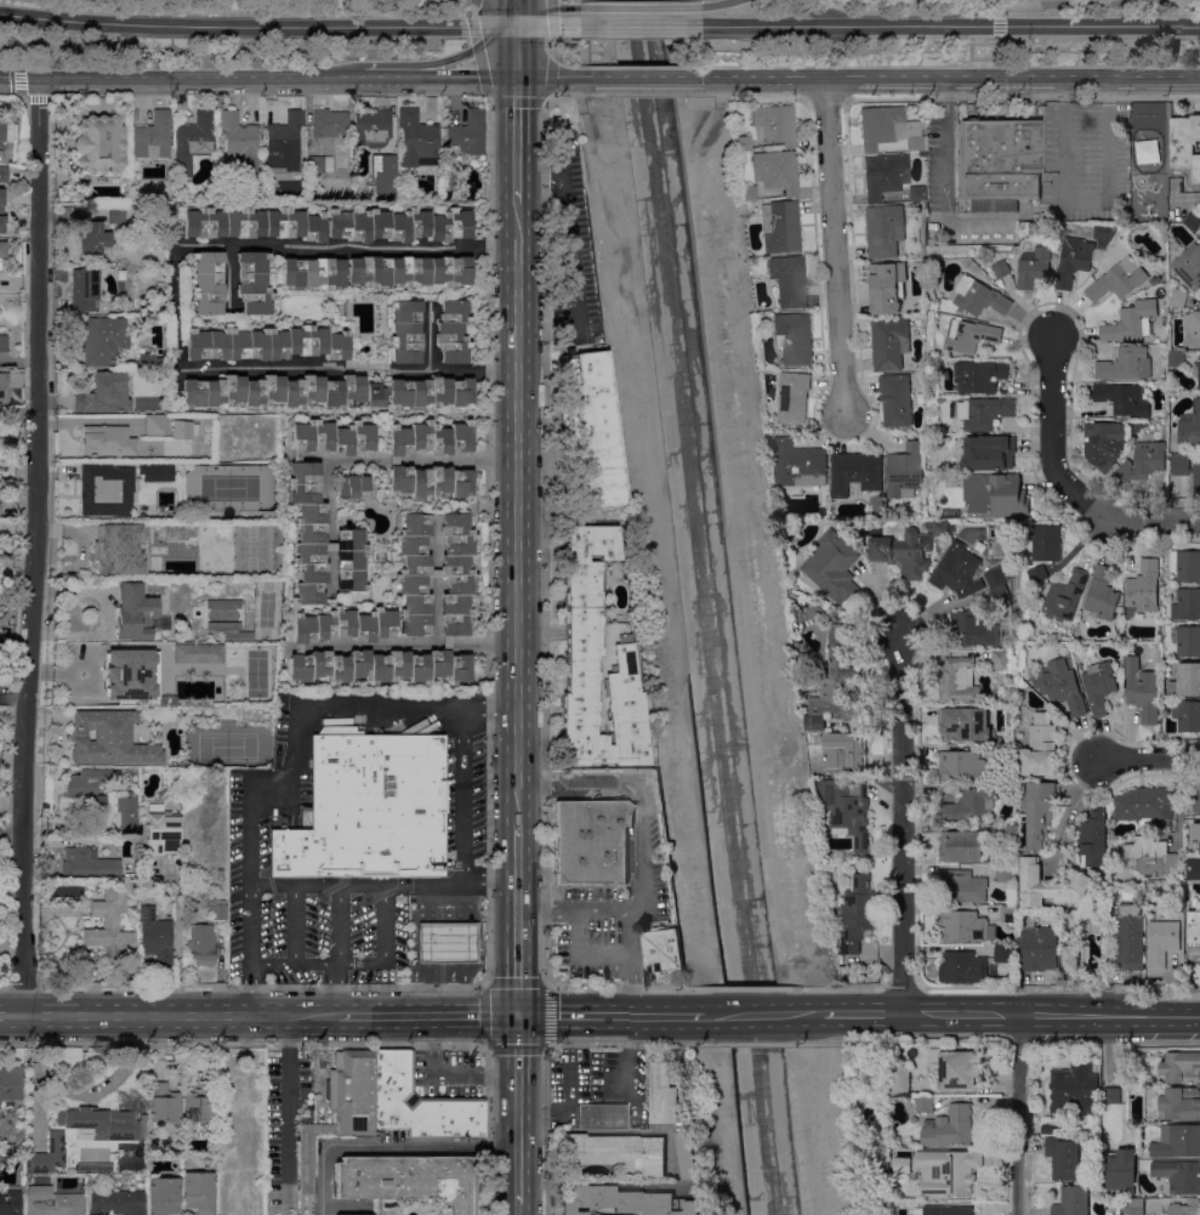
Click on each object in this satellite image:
road: (1117, 1)
road: (1012, 2)
road: (720, 4)
road: (516, 7)
road: (639, 7)
road: (545, 11)
road: (550, 17)
road: (514, 19)
traffic signals: (514, 24)
road: (999, 24)
road: (514, 30)
road: (16, 46)
road: (550, 47)
road: (971, 50)
road: (514, 56)
road: (416, 63)
traffic signals: (516, 75)
road: (950, 75)
road: (10, 76)
road: (550, 76)
road: (643, 76)
road: (267, 78)
traffic signals: (38, 79)
road: (1000, 79)
road: (21, 81)
road: (676, 93)
road: (488, 96)
road: (38, 97)
road: (1020, 97)
road: (824, 98)
building: (330, 124)
building: (774, 125)
building: (372, 129)
building: (888, 129)
building: (2, 132)
building: (468, 132)
building: (152, 137)
building: (416, 137)
road: (514, 137)
road: (1064, 137)
building: (194, 141)
building: (240, 142)
building: (284, 142)
building: (740, 143)
building: (1185, 143)
building: (99, 144)
building: (997, 165)
building: (319, 166)
building: (777, 171)
building: (383, 174)
building: (2, 175)
building: (885, 176)
building: (747, 193)
building: (917, 193)
road: (1193, 198)
building: (2, 209)
building: (116, 214)
road: (1014, 217)
building: (1193, 218)
building: (328, 225)
building: (780, 227)
building: (885, 229)
building: (1103, 233)
road: (568, 234)
building: (93, 240)
road: (834, 243)
road: (283, 245)
building: (2, 249)
building: (1074, 260)
building: (757, 262)
building: (1189, 265)
building: (1034, 267)
building: (1001, 268)
building: (376, 272)
building: (750, 274)
road: (229, 276)
building: (1117, 279)
building: (789, 280)
building: (207, 283)
building: (254, 283)
building: (887, 286)
building: (84, 290)
building: (974, 296)
building: (1178, 297)
building: (1131, 320)
building: (1192, 329)
building: (405, 331)
building: (453, 333)
building: (971, 335)
road: (428, 336)
building: (794, 337)
building: (103, 341)
building: (889, 342)
building: (4, 344)
building: (266, 344)
building: (1176, 358)
building: (148, 362)
building: (1126, 364)
road: (353, 369)
building: (1196, 370)
building: (982, 375)
building: (2, 388)
building: (273, 392)
building: (431, 393)
building: (104, 394)
building: (376, 394)
building: (794, 397)
building: (1122, 398)
building: (895, 399)
building: (940, 399)
building: (983, 411)
building: (153, 425)
building: (1190, 425)
road: (1052, 427)
building: (183, 430)
building: (590, 432)
building: (332, 437)
building: (428, 438)
building: (106, 442)
building: (1105, 442)
building: (989, 452)
building: (296, 456)
building: (392, 460)
road: (392, 460)
road: (456, 460)
building: (1141, 462)
building: (800, 464)
building: (1187, 469)
road: (329, 471)
building: (905, 471)
building: (157, 473)
building: (855, 473)
building: (428, 481)
building: (357, 488)
building: (110, 489)
building: (993, 494)
building: (0, 509)
road: (730, 510)
road: (517, 513)
building: (269, 516)
road: (644, 517)
road: (1143, 520)
building: (57, 524)
building: (307, 532)
building: (1045, 543)
building: (908, 545)
road: (33, 546)
building: (121, 546)
building: (328, 546)
road: (330, 546)
building: (347, 560)
building: (1187, 564)
building: (956, 566)
building: (832, 567)
road: (330, 569)
building: (1039, 573)
building: (414, 574)
building: (436, 574)
building: (456, 574)
building: (995, 575)
building: (1143, 591)
building: (999, 594)
building: (1101, 594)
building: (1067, 595)
building: (1187, 603)
building: (223, 606)
building: (294, 609)
road: (545, 611)
building: (135, 613)
building: (345, 626)
building: (972, 628)
building: (231, 631)
building: (1185, 640)
road: (484, 641)
road: (447, 642)
building: (447, 643)
road: (375, 645)
building: (298, 649)
building: (582, 649)
building: (176, 653)
road: (489, 659)
building: (281, 665)
building: (380, 666)
building: (1000, 672)
building: (138, 676)
building: (1187, 679)
building: (959, 681)
building: (836, 685)
building: (1062, 686)
building: (1099, 686)
building: (1142, 689)
road: (12, 698)
road: (500, 706)
road: (389, 708)
road: (12, 712)
building: (1187, 715)
road: (462, 720)
building: (965, 723)
road: (295, 738)
building: (110, 740)
building: (1041, 746)
park: (228, 749)
building: (841, 749)
building: (1001, 753)
road: (1147, 755)
building: (962, 766)
building: (90, 782)
road: (272, 782)
building: (448, 782)
road: (580, 787)
building: (1192, 797)
road: (462, 800)
building: (1143, 804)
building: (968, 806)
building: (848, 808)
building: (368, 810)
road: (1067, 811)
building: (1040, 812)
building: (126, 813)
road: (900, 824)
building: (95, 825)
road: (10, 833)
building: (163, 833)
building: (1010, 833)
building: (1195, 836)
building: (1093, 838)
building: (592, 842)
road: (643, 846)
building: (961, 846)
parking lot: (463, 852)
building: (1151, 855)
building: (87, 864)
building: (1193, 868)
building: (1006, 870)
building: (221, 874)
road: (250, 878)
road: (501, 879)
road: (473, 880)
building: (1114, 880)
building: (1141, 882)
building: (1052, 885)
road: (318, 886)
road: (432, 886)
building: (965, 886)
parking lot: (612, 888)
road: (580, 907)
building: (857, 913)
building: (1007, 913)
road: (518, 921)
road: (294, 924)
road: (385, 924)
road: (337, 925)
building: (110, 926)
building: (965, 926)
building: (1194, 931)
building: (1069, 935)
building: (1130, 935)
building: (155, 937)
building: (205, 937)
building: (1162, 942)
building: (448, 943)
gas station: (448, 943)
building: (1037, 946)
building: (661, 949)
building: (1003, 953)
road: (580, 955)
building: (1070, 958)
road: (630, 960)
road: (317, 963)
building: (963, 966)
road: (746, 987)
road: (854, 987)
road: (250, 989)
road: (335, 989)
road: (757, 1014)
road: (857, 1014)
road: (11, 1015)
road: (187, 1015)
road: (609, 1015)
road: (1052, 1015)
road: (434, 1016)
traffic signals: (517, 1017)
road: (548, 1045)
building: (1182, 1067)
building: (957, 1068)
road: (448, 1074)
parking lot: (442, 1075)
building: (900, 1078)
building: (10, 1085)
building: (1074, 1088)
building: (664, 1094)
building: (1111, 1094)
building: (349, 1096)
road: (283, 1101)
building: (1181, 1101)
building: (199, 1103)
building: (923, 1103)
building: (163, 1106)
building: (419, 1106)
road: (517, 1111)
road: (1017, 1114)
building: (601, 1117)
building: (101, 1124)
building: (951, 1126)
building: (1052, 1126)
building: (1177, 1140)
road: (727, 1143)
road: (801, 1143)
road: (391, 1147)
building: (618, 1153)
building: (47, 1154)
building: (688, 1154)
building: (1063, 1156)
building: (883, 1157)
building: (308, 1160)
building: (902, 1164)
building: (1121, 1169)
building: (948, 1171)
building: (1179, 1175)
building: (408, 1181)
building: (199, 1192)
building: (165, 1196)
building: (50, 1198)
building: (1073, 1200)
building: (10, 1202)
building: (116, 1202)
building: (626, 1202)
building: (1133, 1205)
building: (1185, 1207)
road: (517, 1210)
building: (950, 1210)
building: (877, 1214)

